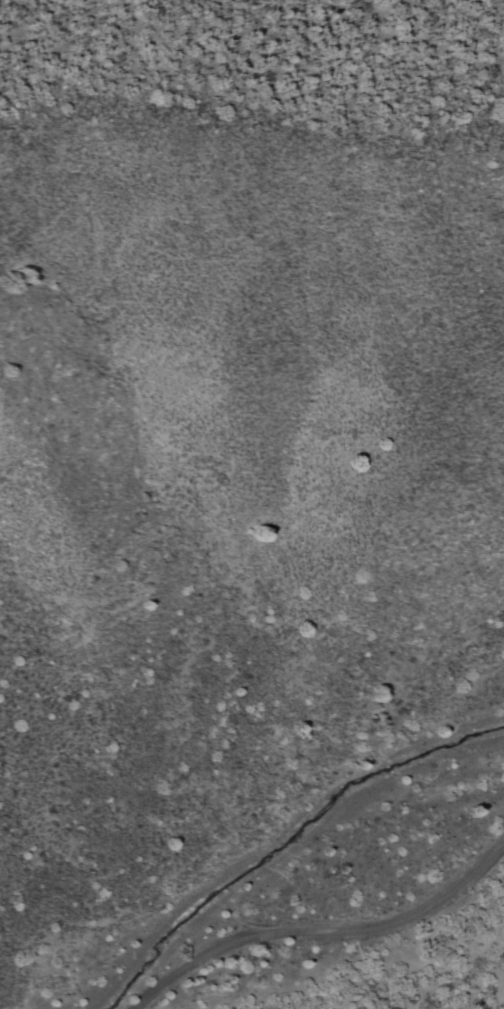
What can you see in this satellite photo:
road: (329, 939)

